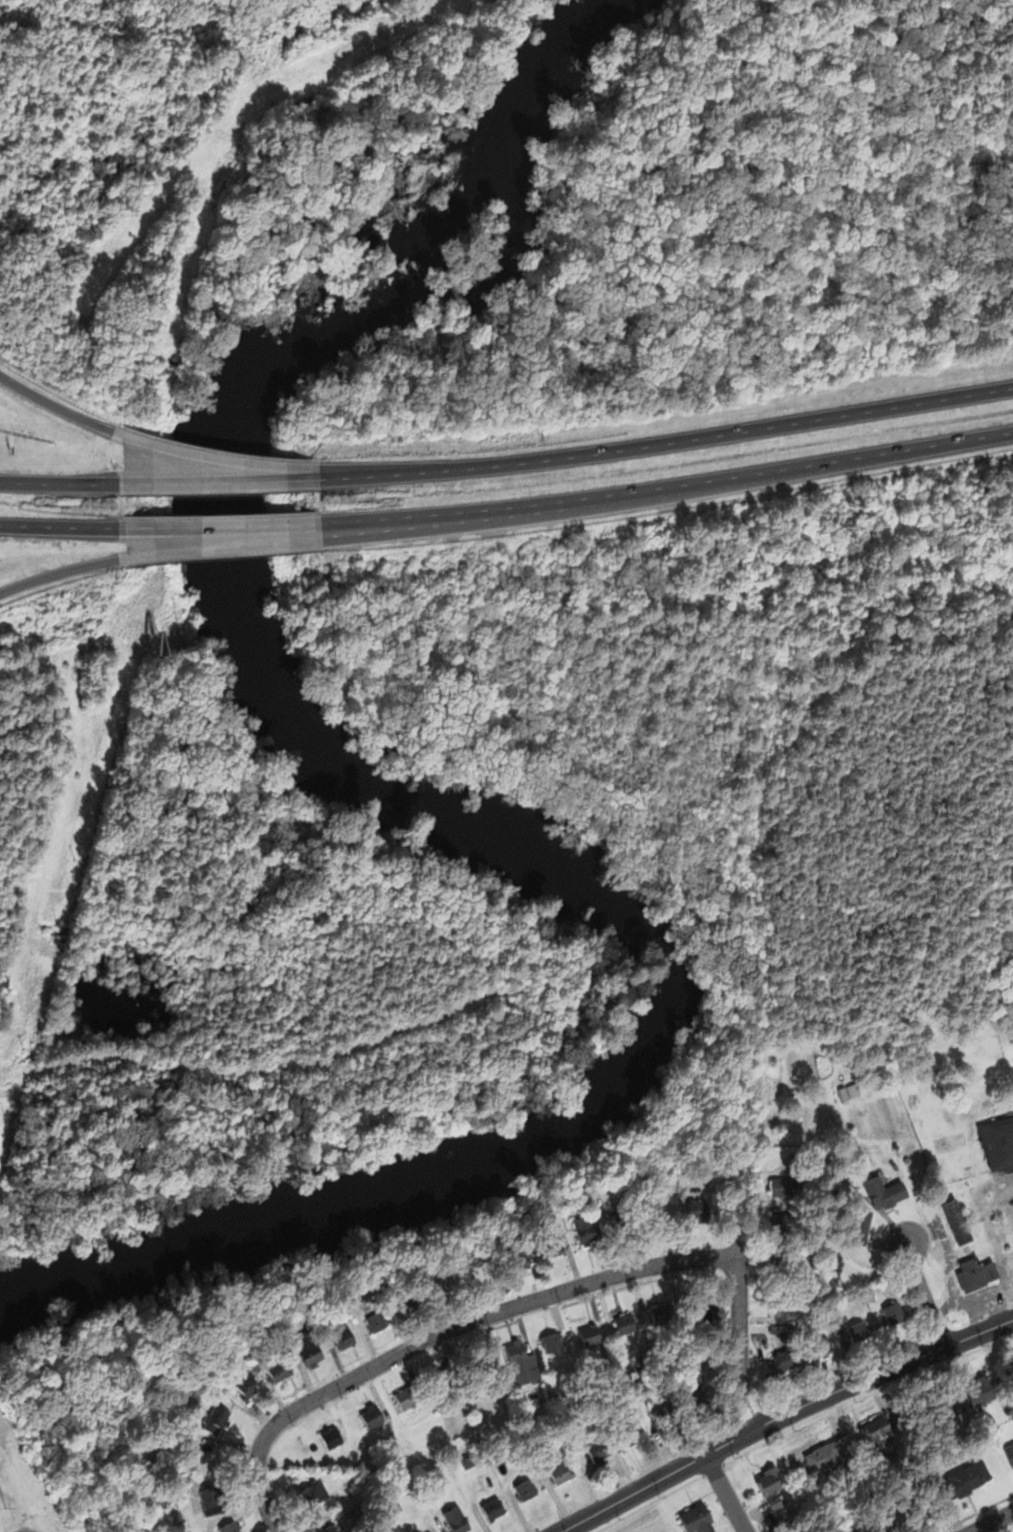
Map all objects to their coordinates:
river: (604, 8)
power tower: (272, 42)
river: (533, 110)
power tower: (225, 169)
power tower: (180, 288)
river: (403, 310)
road: (55, 405)
power tower: (167, 416)
road: (668, 442)
road: (216, 458)
road: (219, 480)
road: (58, 482)
road: (685, 486)
road: (58, 525)
road: (236, 525)
road: (238, 542)
road: (59, 571)
power tower: (152, 585)
power tower: (109, 733)
power tower: (76, 860)
river: (651, 946)
power tower: (42, 993)
road: (252, 1072)
building: (850, 1089)
power tower: (4, 1111)
building: (998, 1141)
building: (784, 1185)
building: (884, 1193)
road: (737, 1202)
building: (699, 1212)
building: (956, 1221)
building: (628, 1222)
building: (787, 1222)
building: (859, 1225)
building: (581, 1228)
building: (550, 1239)
building: (787, 1259)
building: (518, 1261)
building: (974, 1270)
building: (482, 1275)
building: (450, 1286)
building: (789, 1290)
road: (927, 1293)
building: (872, 1295)
building: (411, 1302)
building: (662, 1312)
building: (892, 1312)
building: (366, 1314)
building: (707, 1318)
building: (624, 1324)
road: (441, 1331)
building: (588, 1336)
building: (861, 1336)
building: (343, 1338)
building: (553, 1343)
road: (740, 1346)
building: (511, 1349)
building: (310, 1351)
building: (823, 1352)
building: (480, 1356)
building: (783, 1360)
building: (279, 1369)
building: (1009, 1371)
building: (445, 1373)
building: (695, 1382)
building: (246, 1388)
building: (982, 1391)
building: (406, 1397)
building: (939, 1404)
building: (673, 1413)
road: (783, 1415)
building: (371, 1416)
building: (911, 1417)
building: (215, 1418)
building: (881, 1424)
building: (628, 1434)
building: (332, 1437)
building: (598, 1450)
building: (831, 1452)
building: (1009, 1452)
park: (45, 1464)
building: (560, 1470)
building: (503, 1478)
building: (437, 1481)
building: (961, 1481)
building: (774, 1484)
building: (315, 1485)
building: (524, 1489)
road: (726, 1493)
building: (214, 1499)
power tower: (48, 1505)
building: (914, 1506)
building: (492, 1507)
building: (397, 1508)
building: (456, 1519)
building: (696, 1519)
building: (177, 1520)
road: (992, 1521)
building: (869, 1526)
building: (230, 1527)
building: (848, 1529)

